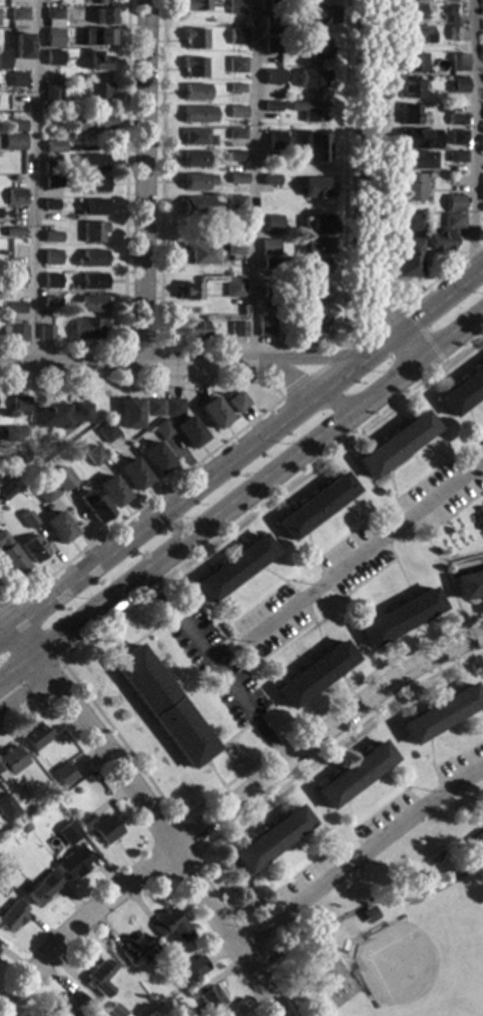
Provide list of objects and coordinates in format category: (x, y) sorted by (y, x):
building: (406, 0)
building: (99, 2)
building: (193, 5)
building: (234, 7)
building: (409, 12)
building: (316, 13)
building: (454, 13)
building: (18, 14)
building: (102, 15)
building: (53, 17)
building: (271, 24)
building: (454, 33)
building: (414, 34)
building: (236, 36)
building: (96, 37)
building: (53, 38)
building: (194, 38)
building: (21, 45)
building: (270, 45)
building: (319, 49)
building: (53, 58)
building: (3, 59)
building: (98, 61)
building: (409, 62)
building: (456, 62)
building: (235, 64)
building: (193, 67)
building: (273, 76)
building: (311, 77)
building: (16, 79)
building: (454, 85)
building: (235, 88)
building: (408, 88)
building: (97, 92)
building: (195, 92)
building: (52, 93)
building: (271, 106)
building: (443, 109)
building: (309, 110)
building: (236, 112)
building: (197, 114)
building: (407, 114)
building: (453, 119)
building: (90, 123)
building: (11, 128)
building: (235, 133)
road: (472, 134)
building: (196, 137)
building: (456, 137)
building: (274, 139)
building: (415, 139)
building: (13, 142)
building: (481, 144)
building: (54, 146)
building: (313, 148)
building: (235, 155)
building: (454, 156)
building: (194, 159)
building: (23, 160)
building: (414, 160)
building: (91, 162)
building: (50, 167)
road: (344, 172)
building: (237, 178)
road: (253, 180)
building: (269, 180)
building: (52, 181)
building: (196, 181)
road: (34, 182)
road: (142, 182)
building: (91, 184)
building: (316, 187)
building: (410, 187)
road: (363, 189)
building: (15, 196)
building: (236, 202)
building: (453, 202)
building: (49, 204)
building: (92, 207)
building: (196, 207)
road: (378, 209)
building: (411, 221)
building: (452, 221)
building: (272, 223)
building: (316, 224)
building: (13, 231)
building: (92, 232)
road: (124, 235)
building: (51, 236)
building: (439, 241)
building: (452, 241)
building: (314, 245)
building: (268, 246)
building: (233, 248)
building: (199, 254)
building: (51, 257)
building: (406, 257)
building: (91, 258)
building: (273, 263)
road: (160, 264)
building: (309, 265)
building: (16, 275)
building: (51, 280)
building: (92, 280)
building: (233, 288)
building: (186, 291)
building: (272, 292)
building: (314, 294)
building: (50, 301)
building: (92, 303)
building: (15, 307)
road: (422, 310)
road: (386, 317)
building: (317, 326)
building: (87, 328)
building: (264, 328)
building: (237, 329)
building: (192, 330)
building: (46, 332)
building: (13, 333)
road: (422, 334)
road: (450, 337)
road: (358, 339)
road: (141, 347)
road: (336, 357)
road: (180, 363)
road: (284, 371)
road: (316, 372)
road: (337, 373)
road: (294, 388)
road: (383, 389)
building: (462, 391)
building: (237, 402)
road: (330, 402)
building: (19, 405)
building: (152, 407)
building: (172, 407)
building: (212, 412)
building: (129, 413)
building: (61, 414)
road: (252, 419)
road: (470, 422)
building: (161, 429)
building: (21, 431)
building: (187, 431)
building: (106, 432)
building: (10, 434)
road: (476, 441)
building: (393, 444)
road: (432, 451)
building: (93, 455)
building: (154, 457)
building: (10, 461)
building: (132, 474)
road: (478, 476)
building: (61, 479)
road: (376, 479)
road: (377, 486)
road: (391, 489)
building: (6, 491)
building: (44, 491)
building: (110, 491)
parking lot: (437, 497)
building: (93, 506)
building: (313, 506)
road: (156, 509)
road: (404, 512)
building: (482, 512)
road: (351, 513)
building: (27, 519)
building: (481, 521)
building: (57, 527)
road: (308, 545)
building: (32, 548)
road: (174, 548)
road: (363, 552)
building: (10, 557)
road: (458, 557)
road: (391, 558)
parking lot: (350, 561)
road: (448, 565)
building: (231, 568)
road: (270, 574)
road: (402, 577)
road: (445, 578)
building: (468, 584)
road: (208, 605)
road: (7, 607)
road: (357, 608)
building: (399, 617)
road: (3, 621)
parking lot: (272, 622)
road: (233, 624)
road: (427, 628)
road: (137, 639)
road: (319, 640)
road: (392, 647)
parking lot: (214, 665)
road: (212, 666)
road: (51, 667)
road: (273, 669)
road: (68, 674)
building: (313, 674)
road: (342, 681)
road: (23, 693)
building: (161, 706)
road: (310, 706)
building: (440, 713)
road: (473, 721)
road: (320, 732)
building: (34, 737)
road: (225, 742)
road: (458, 754)
building: (11, 760)
parking lot: (461, 762)
road: (432, 766)
building: (66, 770)
building: (352, 774)
road: (216, 780)
building: (68, 781)
road: (402, 787)
building: (63, 800)
road: (257, 803)
building: (7, 808)
road: (379, 811)
parking lot: (387, 815)
road: (148, 816)
building: (84, 820)
road: (349, 826)
building: (23, 827)
building: (104, 829)
building: (67, 833)
road: (184, 838)
building: (268, 839)
building: (477, 840)
road: (316, 851)
road: (357, 856)
building: (72, 862)
road: (294, 874)
parking lot: (300, 882)
building: (41, 888)
road: (266, 889)
building: (11, 915)
building: (367, 915)
building: (168, 924)
road: (79, 926)
park: (393, 927)
building: (133, 947)
building: (170, 961)
park: (411, 962)
building: (195, 965)
building: (173, 968)
building: (98, 978)
building: (205, 996)
building: (153, 999)
building: (69, 1004)
park: (481, 1009)
building: (114, 1010)
building: (225, 1015)

